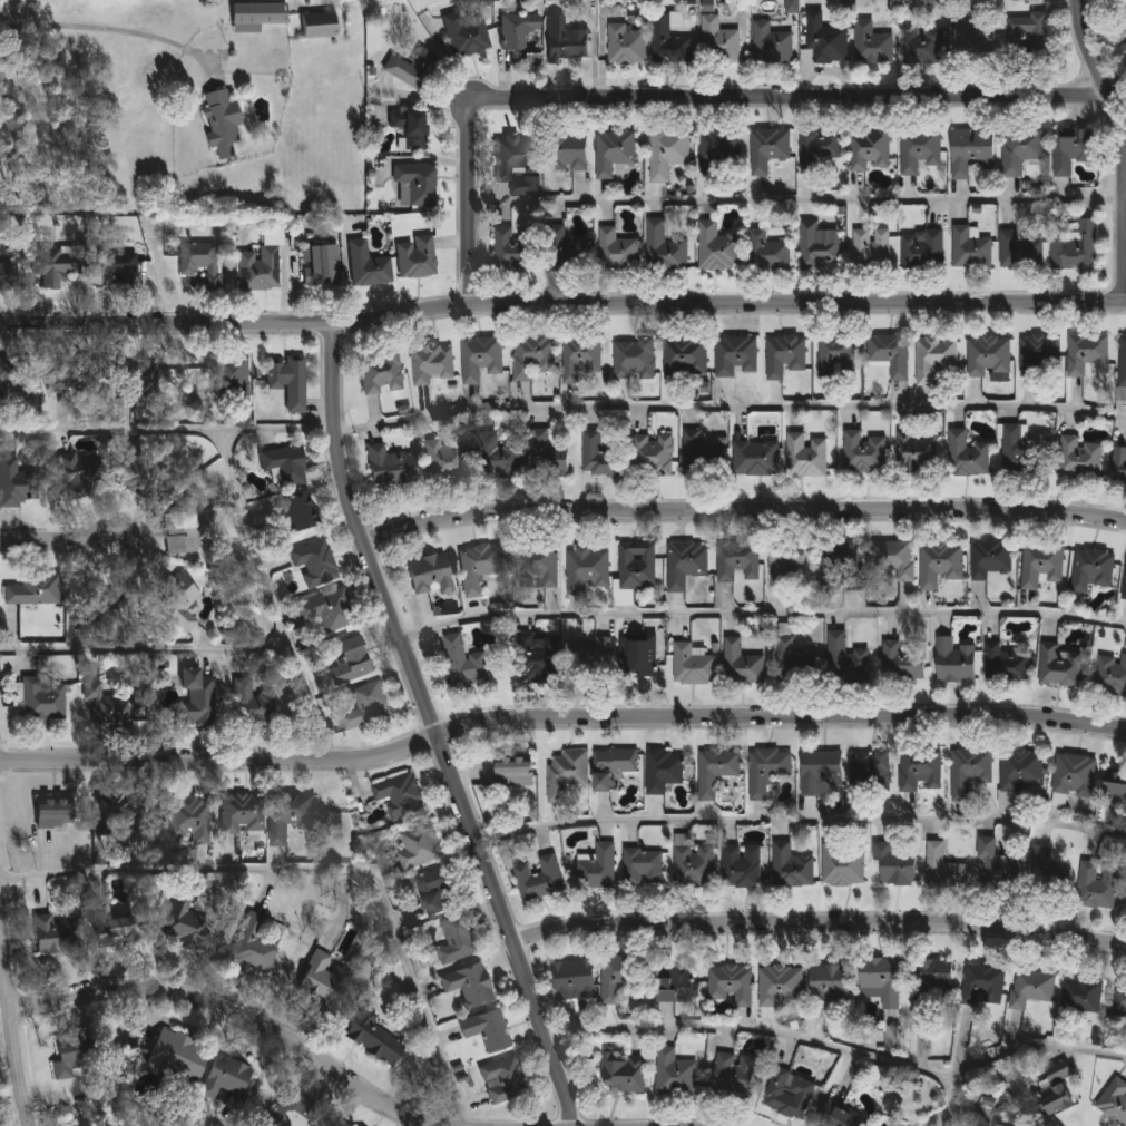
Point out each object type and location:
building: (792, 7)
building: (256, 16)
building: (1124, 18)
building: (319, 25)
road: (110, 27)
building: (518, 31)
building: (466, 33)
building: (1026, 36)
building: (976, 40)
building: (565, 41)
building: (824, 41)
building: (666, 42)
building: (716, 42)
building: (770, 46)
building: (870, 46)
building: (923, 46)
building: (625, 47)
building: (1123, 51)
building: (531, 58)
building: (414, 69)
road: (692, 101)
building: (221, 123)
building: (411, 129)
road: (1120, 149)
building: (766, 150)
building: (869, 150)
building: (1018, 150)
building: (1069, 150)
building: (569, 151)
building: (613, 151)
building: (917, 151)
building: (666, 153)
building: (817, 153)
building: (968, 153)
building: (718, 154)
building: (517, 164)
building: (418, 183)
road: (796, 200)
building: (517, 249)
building: (663, 249)
building: (715, 249)
building: (815, 249)
building: (870, 249)
building: (1075, 249)
building: (969, 251)
building: (921, 252)
building: (566, 253)
building: (616, 253)
building: (767, 253)
building: (1018, 253)
building: (417, 257)
building: (200, 262)
building: (321, 266)
building: (369, 266)
building: (112, 268)
building: (56, 270)
building: (258, 270)
building: (7, 274)
road: (561, 307)
building: (888, 355)
building: (1086, 355)
building: (531, 358)
building: (734, 358)
building: (783, 358)
building: (835, 358)
building: (987, 358)
building: (579, 359)
building: (684, 359)
building: (932, 359)
building: (1038, 359)
building: (480, 360)
building: (633, 360)
building: (432, 364)
building: (1122, 364)
building: (381, 374)
building: (20, 375)
building: (79, 376)
building: (178, 378)
building: (229, 378)
building: (135, 381)
building: (290, 382)
building: (1120, 394)
road: (731, 407)
road: (168, 430)
building: (863, 453)
building: (917, 453)
building: (1019, 453)
building: (600, 456)
building: (499, 457)
building: (652, 457)
building: (966, 457)
building: (547, 458)
building: (805, 458)
building: (699, 459)
building: (754, 460)
building: (1079, 460)
building: (445, 462)
building: (284, 466)
building: (143, 468)
building: (390, 468)
building: (1117, 468)
building: (75, 473)
building: (12, 483)
building: (302, 511)
road: (744, 516)
building: (182, 532)
road: (56, 541)
building: (989, 560)
building: (893, 561)
building: (737, 564)
building: (315, 565)
building: (684, 565)
building: (841, 565)
building: (939, 565)
building: (479, 567)
building: (540, 567)
building: (636, 567)
building: (783, 567)
building: (1040, 567)
building: (585, 570)
building: (1091, 570)
building: (430, 575)
building: (1124, 585)
building: (33, 589)
road: (277, 598)
building: (178, 601)
building: (116, 609)
building: (327, 610)
road: (761, 614)
road: (147, 648)
building: (639, 657)
building: (536, 658)
building: (590, 658)
building: (843, 659)
building: (350, 660)
building: (902, 663)
building: (953, 663)
building: (794, 664)
building: (463, 665)
building: (693, 665)
building: (741, 665)
building: (1005, 665)
building: (1058, 667)
building: (1112, 676)
building: (196, 699)
building: (43, 702)
building: (253, 705)
building: (366, 706)
building: (110, 707)
road: (559, 724)
road: (432, 731)
building: (611, 766)
building: (918, 770)
building: (663, 771)
building: (766, 771)
building: (1020, 771)
building: (968, 772)
building: (870, 773)
building: (512, 774)
building: (566, 774)
building: (821, 774)
building: (714, 776)
building: (1073, 776)
building: (1114, 785)
building: (399, 795)
building: (129, 812)
building: (53, 813)
building: (243, 813)
building: (290, 816)
building: (189, 821)
road: (800, 823)
building: (418, 848)
building: (693, 866)
building: (843, 866)
building: (893, 866)
building: (996, 866)
building: (643, 868)
building: (741, 868)
road: (319, 869)
building: (598, 869)
building: (791, 869)
building: (942, 871)
building: (1045, 874)
building: (538, 879)
building: (1096, 887)
building: (433, 890)
building: (118, 921)
building: (185, 922)
road: (820, 927)
building: (56, 936)
building: (456, 940)
building: (253, 944)
building: (616, 978)
building: (324, 980)
building: (572, 980)
building: (880, 981)
building: (931, 983)
building: (829, 985)
building: (468, 986)
building: (731, 986)
building: (780, 986)
building: (982, 987)
building: (673, 988)
building: (1031, 989)
building: (1080, 997)
building: (1119, 1001)
road: (11, 1012)
road: (228, 1012)
building: (487, 1030)
building: (373, 1038)
road: (841, 1050)
building: (70, 1054)
building: (176, 1056)
building: (623, 1074)
building: (673, 1075)
building: (733, 1076)
building: (503, 1080)
building: (227, 1081)
building: (789, 1095)
building: (1051, 1095)
building: (1114, 1103)
road: (949, 1104)
building: (295, 1113)
building: (996, 1116)
building: (835, 1118)
building: (343, 1125)

